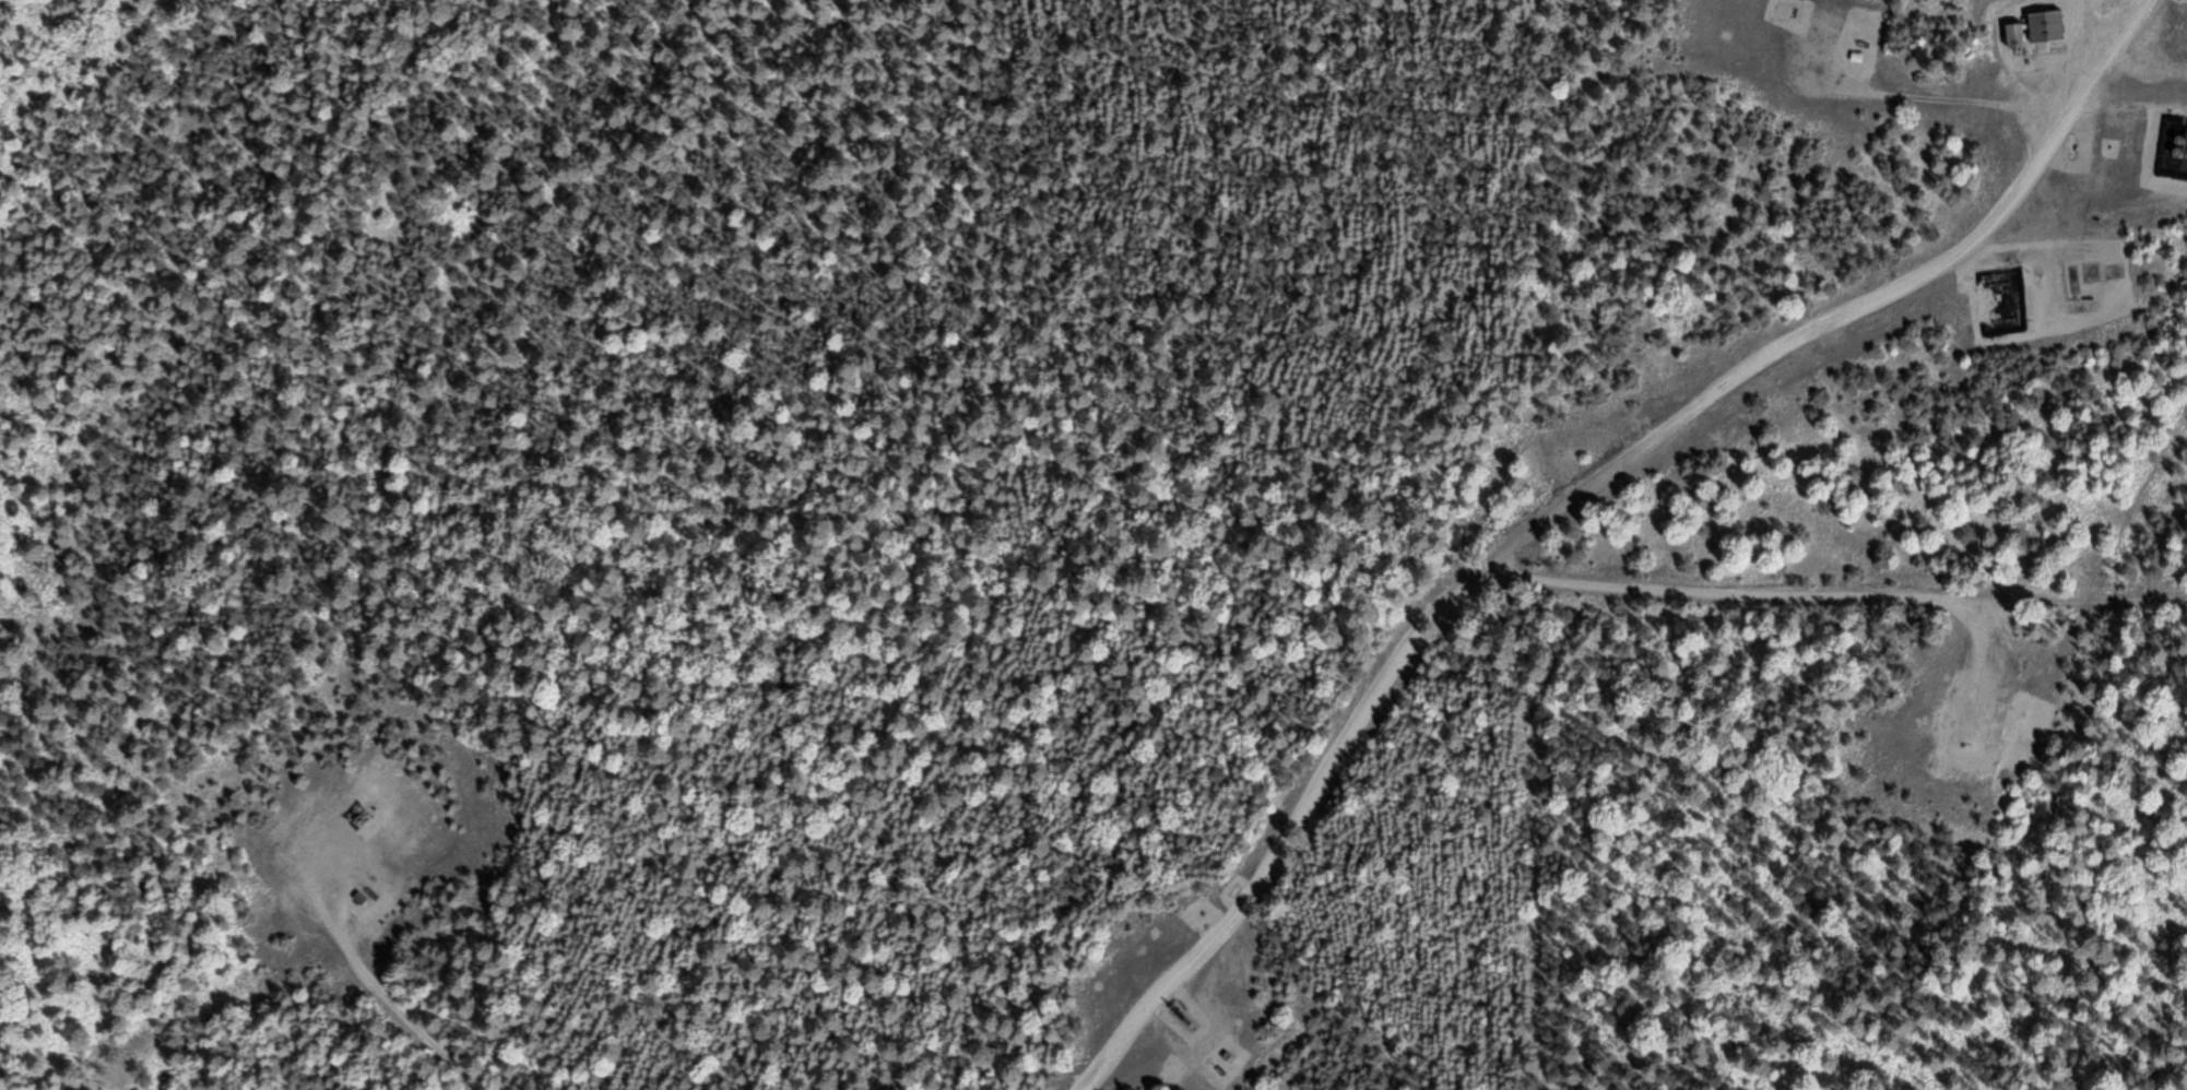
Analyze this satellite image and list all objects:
building: (2045, 25)
building: (2014, 34)
road: (1561, 494)
road: (1827, 585)
road: (1996, 611)
road: (1975, 654)
petroleum well: (1963, 737)
petroleum well: (358, 807)
road: (376, 969)
petroleum well: (1211, 1032)

